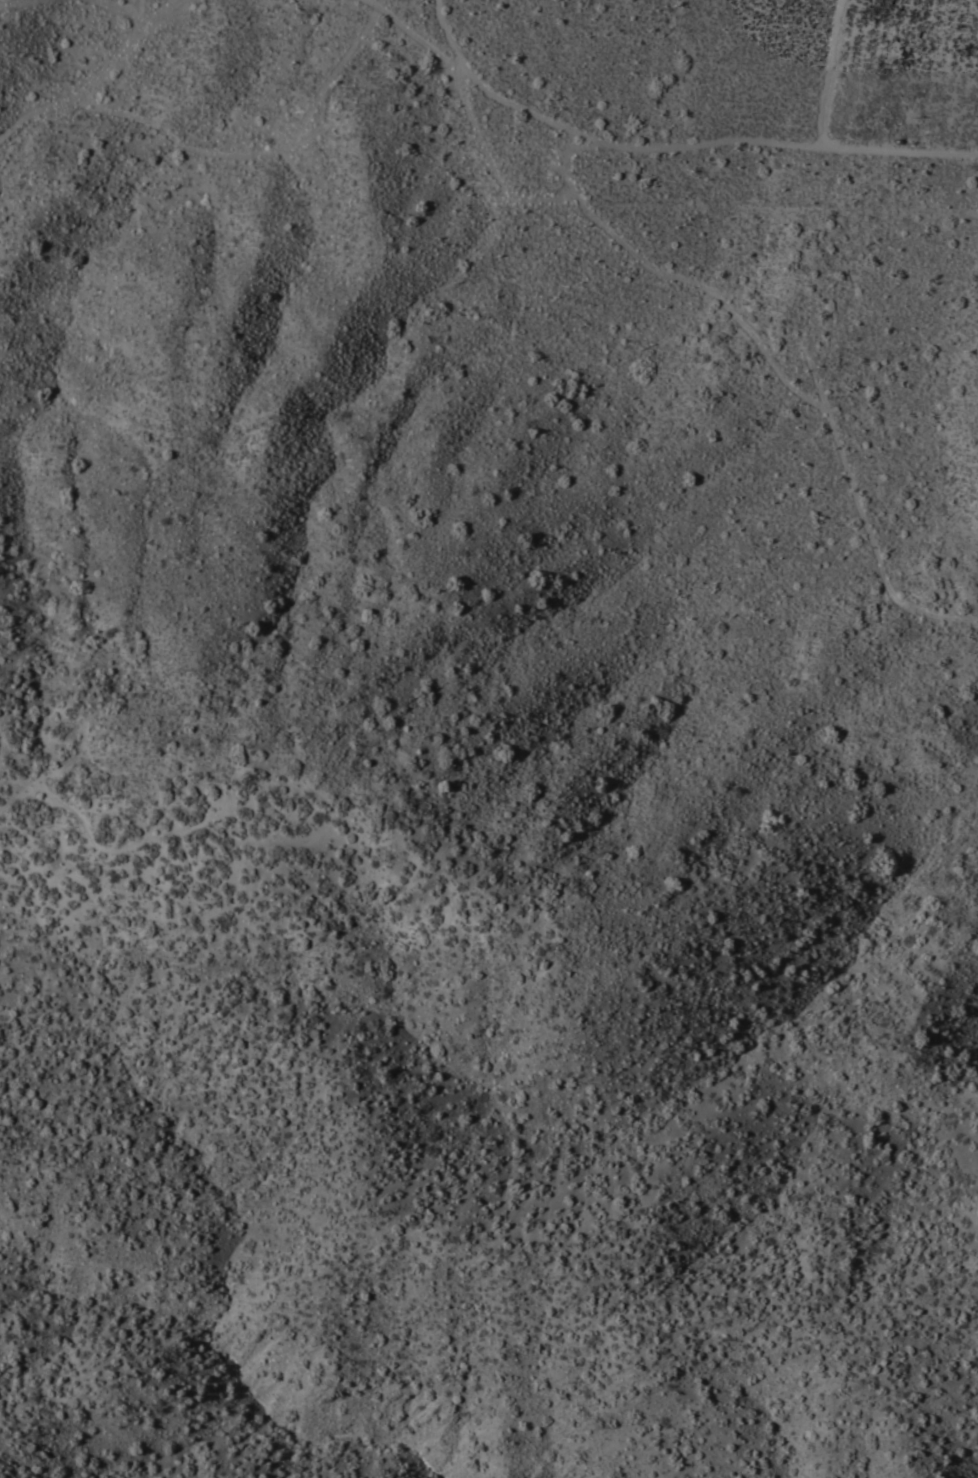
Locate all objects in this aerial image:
crop: (906, 77)

